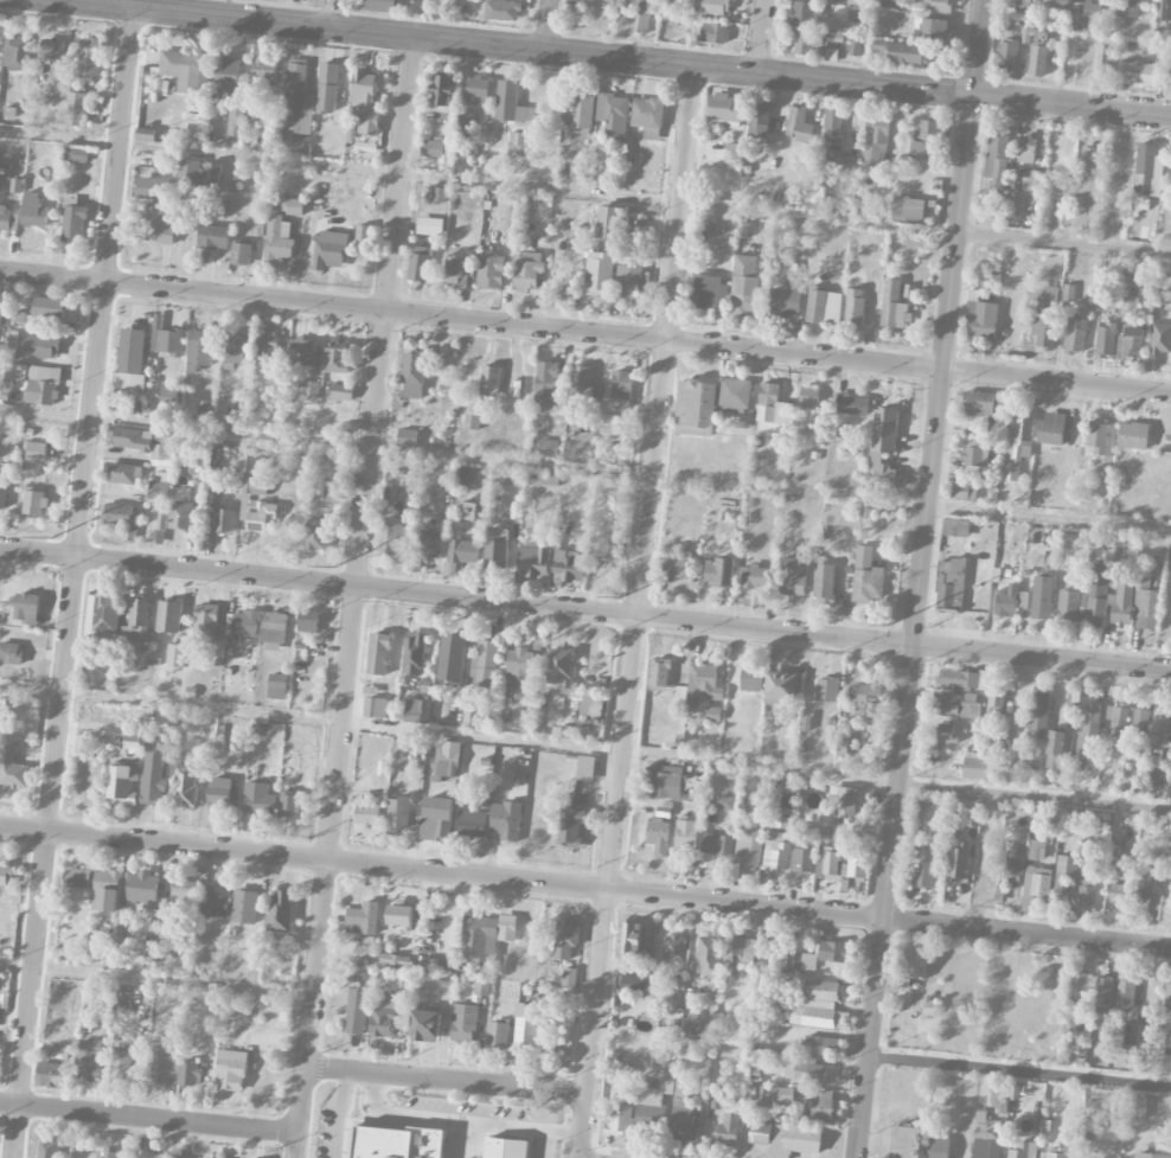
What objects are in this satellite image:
building: (290, 0)
building: (608, 0)
building: (811, 0)
road: (121, 4)
building: (1018, 4)
building: (932, 5)
building: (380, 6)
building: (711, 7)
building: (1054, 8)
building: (1127, 8)
road: (226, 9)
building: (501, 11)
building: (1162, 11)
building: (1087, 12)
road: (334, 15)
building: (641, 15)
building: (807, 15)
road: (440, 20)
building: (831, 25)
road: (548, 26)
building: (934, 30)
building: (715, 34)
road: (761, 37)
building: (808, 43)
road: (868, 43)
building: (853, 46)
building: (53, 51)
building: (15, 52)
building: (909, 55)
building: (1038, 55)
building: (1005, 56)
building: (89, 57)
road: (604, 59)
building: (1102, 65)
building: (186, 71)
building: (264, 71)
building: (1138, 75)
building: (226, 77)
building: (327, 89)
building: (364, 89)
building: (476, 90)
building: (442, 94)
building: (295, 103)
building: (511, 104)
building: (75, 109)
building: (725, 109)
building: (578, 113)
building: (613, 115)
building: (648, 117)
building: (759, 119)
building: (463, 121)
building: (236, 123)
building: (369, 123)
building: (798, 126)
building: (832, 126)
building: (146, 135)
building: (924, 141)
building: (519, 143)
building: (875, 143)
building: (431, 148)
building: (1026, 149)
building: (618, 153)
building: (76, 154)
building: (1089, 160)
building: (165, 162)
building: (997, 162)
building: (844, 166)
building: (577, 169)
building: (1150, 169)
building: (211, 179)
road: (479, 184)
building: (17, 186)
building: (440, 197)
building: (292, 207)
building: (908, 209)
building: (33, 216)
building: (510, 216)
building: (8, 220)
building: (73, 222)
building: (161, 222)
building: (607, 223)
building: (430, 226)
building: (361, 235)
building: (213, 237)
building: (279, 241)
building: (329, 243)
road: (1064, 245)
building: (241, 254)
building: (420, 264)
building: (527, 271)
building: (491, 273)
building: (455, 274)
building: (599, 274)
building: (629, 282)
building: (744, 284)
building: (908, 292)
building: (709, 293)
building: (1068, 293)
building: (1050, 295)
building: (785, 303)
building: (815, 307)
building: (894, 307)
building: (49, 308)
building: (855, 308)
building: (1, 318)
building: (18, 319)
building: (981, 320)
building: (1047, 330)
road: (584, 333)
building: (1075, 335)
building: (165, 338)
building: (1105, 340)
building: (1160, 340)
building: (1131, 346)
building: (41, 347)
building: (199, 350)
building: (236, 350)
building: (302, 352)
building: (267, 358)
building: (337, 358)
building: (130, 359)
building: (412, 376)
building: (489, 382)
building: (37, 383)
building: (583, 386)
building: (545, 388)
building: (308, 390)
building: (621, 390)
building: (341, 392)
building: (734, 395)
building: (169, 399)
building: (808, 399)
building: (983, 403)
building: (770, 405)
building: (851, 405)
building: (205, 408)
building: (696, 409)
road: (45, 415)
building: (472, 416)
building: (991, 426)
building: (1051, 430)
building: (608, 434)
building: (1133, 436)
building: (407, 437)
building: (130, 439)
building: (1101, 440)
building: (883, 446)
building: (1016, 447)
building: (549, 448)
building: (164, 450)
building: (34, 452)
building: (974, 455)
road: (511, 462)
building: (123, 474)
building: (461, 476)
building: (543, 480)
building: (213, 484)
building: (255, 486)
building: (2, 487)
building: (159, 487)
building: (964, 492)
building: (321, 493)
building: (34, 504)
building: (467, 511)
building: (116, 513)
building: (180, 517)
building: (260, 517)
road: (1050, 519)
building: (224, 522)
building: (161, 527)
building: (955, 527)
building: (315, 536)
building: (393, 537)
power tower: (53, 540)
building: (430, 545)
building: (497, 549)
road: (358, 554)
building: (460, 555)
building: (535, 563)
building: (677, 565)
power tower: (334, 567)
building: (569, 567)
building: (718, 572)
building: (794, 575)
building: (754, 577)
building: (866, 578)
road: (921, 578)
building: (1143, 580)
road: (641, 581)
road: (71, 583)
building: (824, 583)
building: (951, 584)
power tower: (620, 597)
building: (1038, 599)
building: (1109, 603)
building: (1005, 604)
building: (1068, 606)
building: (27, 608)
building: (1145, 610)
road: (585, 613)
building: (107, 614)
building: (168, 618)
building: (137, 621)
building: (308, 621)
building: (206, 622)
building: (242, 625)
power tower: (889, 625)
building: (274, 632)
building: (11, 653)
building: (378, 654)
building: (414, 654)
building: (175, 655)
building: (450, 659)
building: (485, 665)
building: (561, 667)
building: (518, 674)
building: (659, 676)
building: (751, 679)
building: (958, 679)
building: (984, 680)
building: (703, 684)
building: (277, 686)
building: (781, 689)
building: (826, 690)
building: (866, 698)
building: (1073, 700)
building: (955, 705)
building: (994, 705)
building: (591, 706)
building: (375, 708)
building: (416, 712)
building: (1037, 712)
building: (712, 715)
building: (471, 718)
building: (1118, 719)
building: (1139, 724)
building: (1089, 730)
building: (1160, 731)
road: (448, 734)
building: (945, 734)
building: (134, 743)
building: (842, 743)
building: (1057, 748)
building: (447, 760)
building: (1031, 762)
building: (977, 767)
building: (585, 768)
building: (12, 769)
building: (666, 782)
building: (122, 783)
building: (154, 787)
building: (186, 791)
building: (219, 794)
road: (1034, 796)
building: (258, 800)
building: (845, 802)
building: (724, 804)
building: (289, 806)
building: (786, 808)
building: (367, 812)
building: (398, 813)
building: (437, 819)
building: (506, 821)
building: (472, 825)
building: (1045, 825)
building: (570, 826)
building: (658, 836)
building: (685, 836)
building: (749, 849)
building: (715, 850)
building: (1035, 850)
building: (775, 856)
building: (802, 862)
building: (958, 863)
building: (1124, 864)
building: (826, 866)
building: (924, 866)
building: (853, 872)
building: (1013, 874)
building: (6, 876)
building: (77, 879)
building: (1075, 883)
building: (1034, 887)
building: (143, 888)
road: (584, 889)
building: (107, 891)
building: (184, 893)
building: (1120, 895)
building: (212, 903)
building: (244, 907)
building: (1159, 907)
building: (280, 911)
building: (398, 915)
building: (363, 920)
building: (486, 935)
building: (565, 939)
building: (634, 940)
building: (674, 948)
building: (728, 952)
building: (743, 952)
building: (834, 953)
building: (709, 954)
building: (393, 960)
building: (801, 961)
building: (913, 967)
building: (569, 978)
road: (156, 980)
building: (634, 985)
building: (481, 989)
building: (1077, 989)
building: (1125, 990)
building: (1102, 992)
building: (1167, 996)
building: (818, 1007)
building: (929, 1007)
building: (356, 1011)
building: (382, 1019)
building: (692, 1023)
building: (465, 1024)
building: (425, 1026)
building: (526, 1026)
building: (498, 1034)
building: (192, 1036)
building: (821, 1047)
building: (90, 1058)
building: (121, 1066)
building: (162, 1066)
building: (231, 1070)
building: (805, 1071)
road: (1019, 1071)
building: (190, 1073)
building: (52, 1076)
road: (446, 1081)
building: (780, 1096)
building: (716, 1099)
road: (303, 1101)
building: (818, 1106)
building: (1135, 1108)
building: (682, 1111)
road: (338, 1114)
road: (149, 1118)
road: (444, 1120)
building: (620, 1120)
road: (583, 1126)
building: (728, 1131)
road: (567, 1133)
building: (760, 1133)
building: (794, 1141)
building: (398, 1143)
building: (907, 1143)
building: (987, 1143)
road: (297, 1145)
road: (549, 1145)
building: (939, 1147)
building: (47, 1149)
building: (505, 1149)
building: (1024, 1151)
building: (111, 1153)
building: (177, 1153)
building: (148, 1156)
building: (1056, 1156)
building: (1151, 1156)

